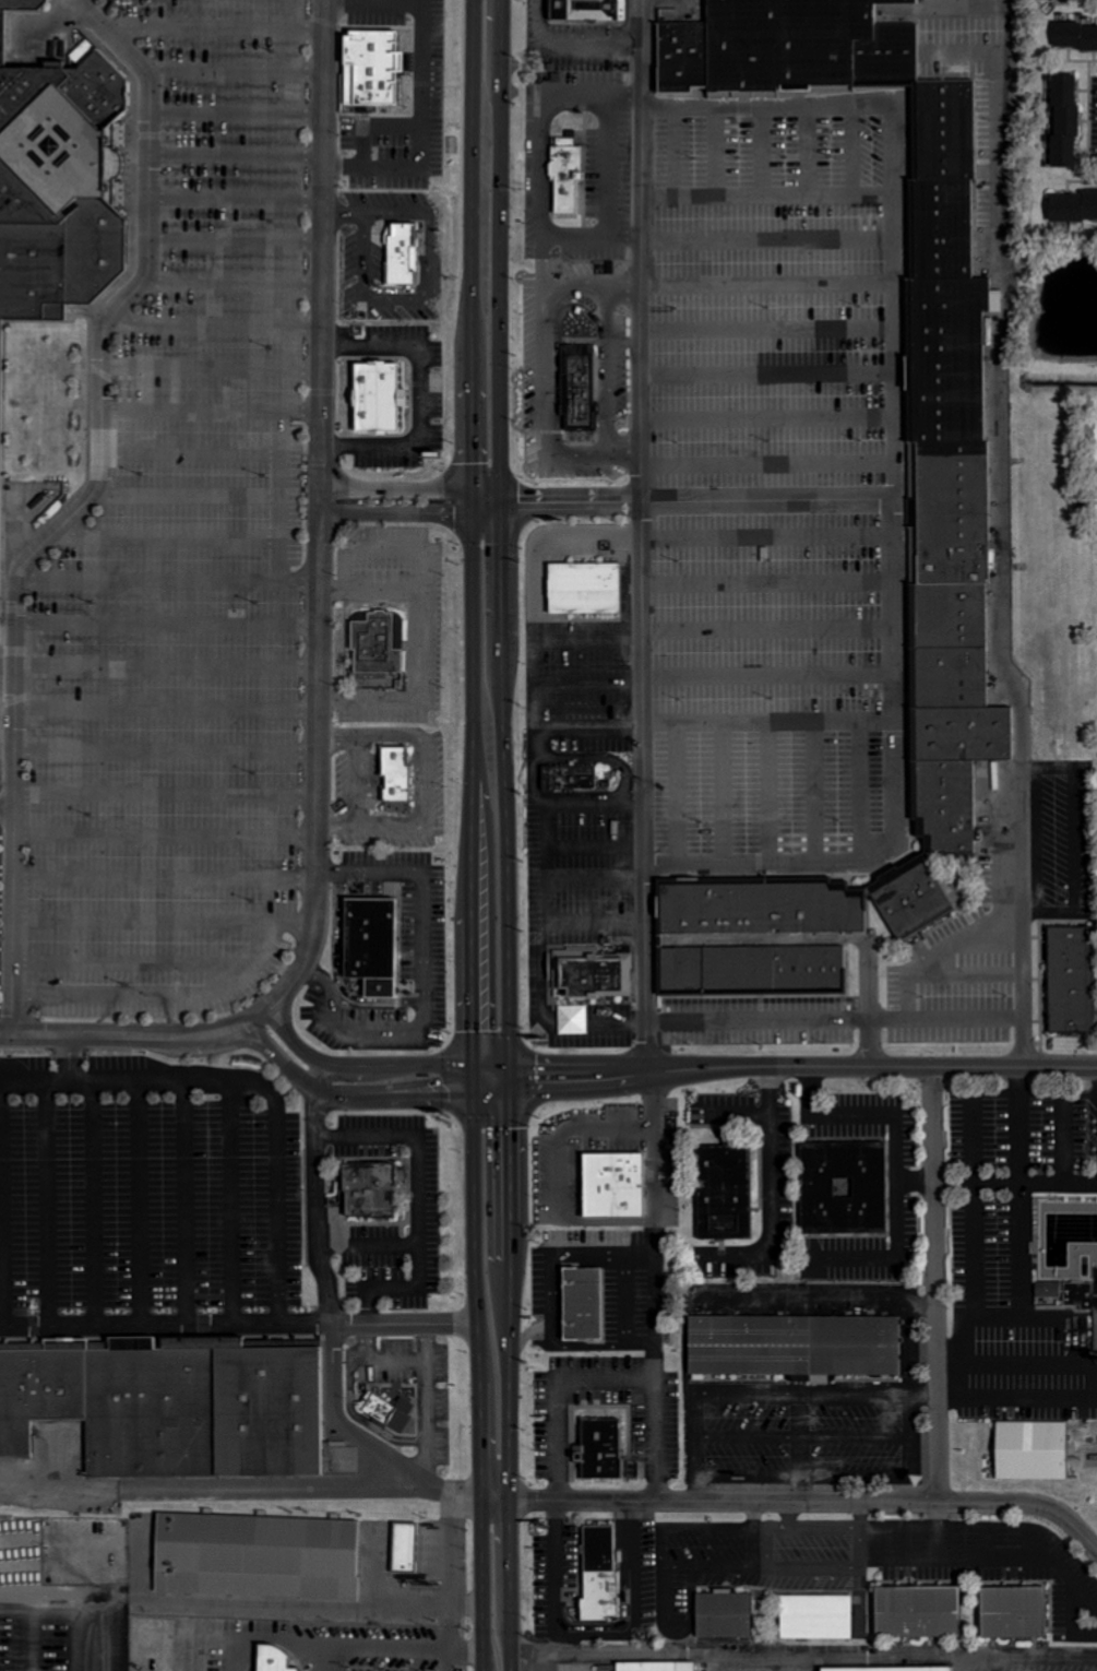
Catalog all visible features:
road: (348, 2)
building: (587, 12)
building: (868, 16)
road: (213, 28)
building: (1074, 38)
building: (780, 45)
building: (887, 56)
building: (681, 58)
building: (371, 64)
road: (231, 70)
road: (234, 112)
building: (1063, 122)
building: (943, 130)
road: (424, 132)
road: (234, 154)
road: (858, 157)
road: (682, 158)
road: (723, 158)
road: (765, 158)
road: (812, 158)
building: (564, 181)
building: (56, 183)
road: (234, 198)
road: (768, 200)
building: (1072, 209)
road: (344, 215)
building: (941, 229)
road: (234, 240)
road: (768, 249)
building: (402, 253)
road: (230, 282)
road: (430, 285)
road: (768, 289)
road: (211, 323)
road: (768, 332)
building: (946, 359)
road: (210, 367)
road: (768, 379)
building: (577, 386)
building: (375, 396)
road: (210, 410)
road: (770, 424)
road: (191, 452)
road: (770, 472)
parking lot: (701, 483)
road: (898, 485)
road: (414, 488)
traffic signals: (472, 490)
road: (187, 494)
road: (279, 495)
road: (82, 503)
traffic signals: (502, 503)
road: (700, 506)
road: (322, 509)
road: (412, 512)
building: (953, 513)
road: (165, 536)
road: (472, 538)
road: (771, 546)
parking lot: (183, 569)
road: (166, 579)
building: (584, 589)
road: (771, 590)
building: (949, 616)
road: (165, 620)
road: (772, 635)
road: (414, 642)
building: (374, 654)
road: (165, 664)
building: (950, 677)
road: (772, 684)
road: (165, 709)
road: (772, 725)
building: (963, 733)
road: (333, 734)
road: (504, 750)
road: (164, 751)
road: (644, 751)
building: (394, 770)
road: (525, 773)
building: (571, 777)
road: (351, 779)
road: (424, 779)
road: (164, 793)
road: (816, 797)
road: (866, 797)
road: (726, 798)
road: (771, 798)
road: (679, 799)
building: (944, 804)
road: (7, 810)
road: (334, 823)
road: (164, 835)
road: (572, 852)
road: (371, 867)
road: (164, 878)
building: (910, 897)
building: (759, 905)
road: (163, 921)
building: (373, 957)
road: (133, 963)
building: (751, 969)
building: (594, 972)
building: (1070, 979)
road: (160, 995)
road: (773, 1021)
road: (955, 1021)
road: (248, 1024)
road: (410, 1030)
road: (264, 1036)
road: (110, 1038)
road: (249, 1042)
road: (296, 1045)
road: (67, 1062)
road: (784, 1067)
road: (298, 1075)
traffic signals: (473, 1079)
traffic signals: (513, 1079)
road: (358, 1080)
road: (430, 1080)
road: (252, 1088)
road: (556, 1135)
road: (1066, 1137)
road: (898, 1163)
road: (917, 1178)
road: (978, 1180)
road: (1059, 1180)
building: (611, 1185)
road: (762, 1187)
building: (843, 1187)
building: (370, 1189)
building: (723, 1193)
parking lot: (150, 1194)
road: (143, 1206)
road: (53, 1207)
road: (99, 1207)
road: (186, 1207)
road: (5, 1208)
road: (239, 1208)
road: (419, 1209)
road: (605, 1224)
road: (371, 1245)
road: (552, 1256)
building: (1062, 1256)
road: (935, 1285)
building: (583, 1303)
road: (1012, 1316)
road: (238, 1328)
road: (524, 1331)
road: (964, 1332)
road: (334, 1336)
road: (897, 1336)
building: (792, 1346)
road: (599, 1352)
road: (1051, 1366)
road: (478, 1374)
building: (38, 1394)
road: (547, 1395)
road: (735, 1397)
road: (952, 1400)
building: (151, 1410)
building: (270, 1410)
building: (387, 1410)
building: (601, 1447)
road: (680, 1448)
road: (788, 1449)
building: (1039, 1456)
road: (494, 1502)
road: (812, 1502)
road: (778, 1513)
road: (746, 1533)
building: (404, 1546)
building: (255, 1555)
road: (450, 1563)
road: (665, 1566)
building: (598, 1573)
road: (544, 1576)
road: (511, 1586)
road: (380, 1599)
road: (623, 1602)
building: (813, 1613)
building: (916, 1613)
building: (1012, 1613)
building: (723, 1615)
road: (310, 1639)
road: (442, 1645)
road: (804, 1652)
building: (272, 1659)
road: (442, 1660)
road: (966, 1662)
building: (654, 1667)
building: (893, 1669)
parking lot: (1030, 1669)

